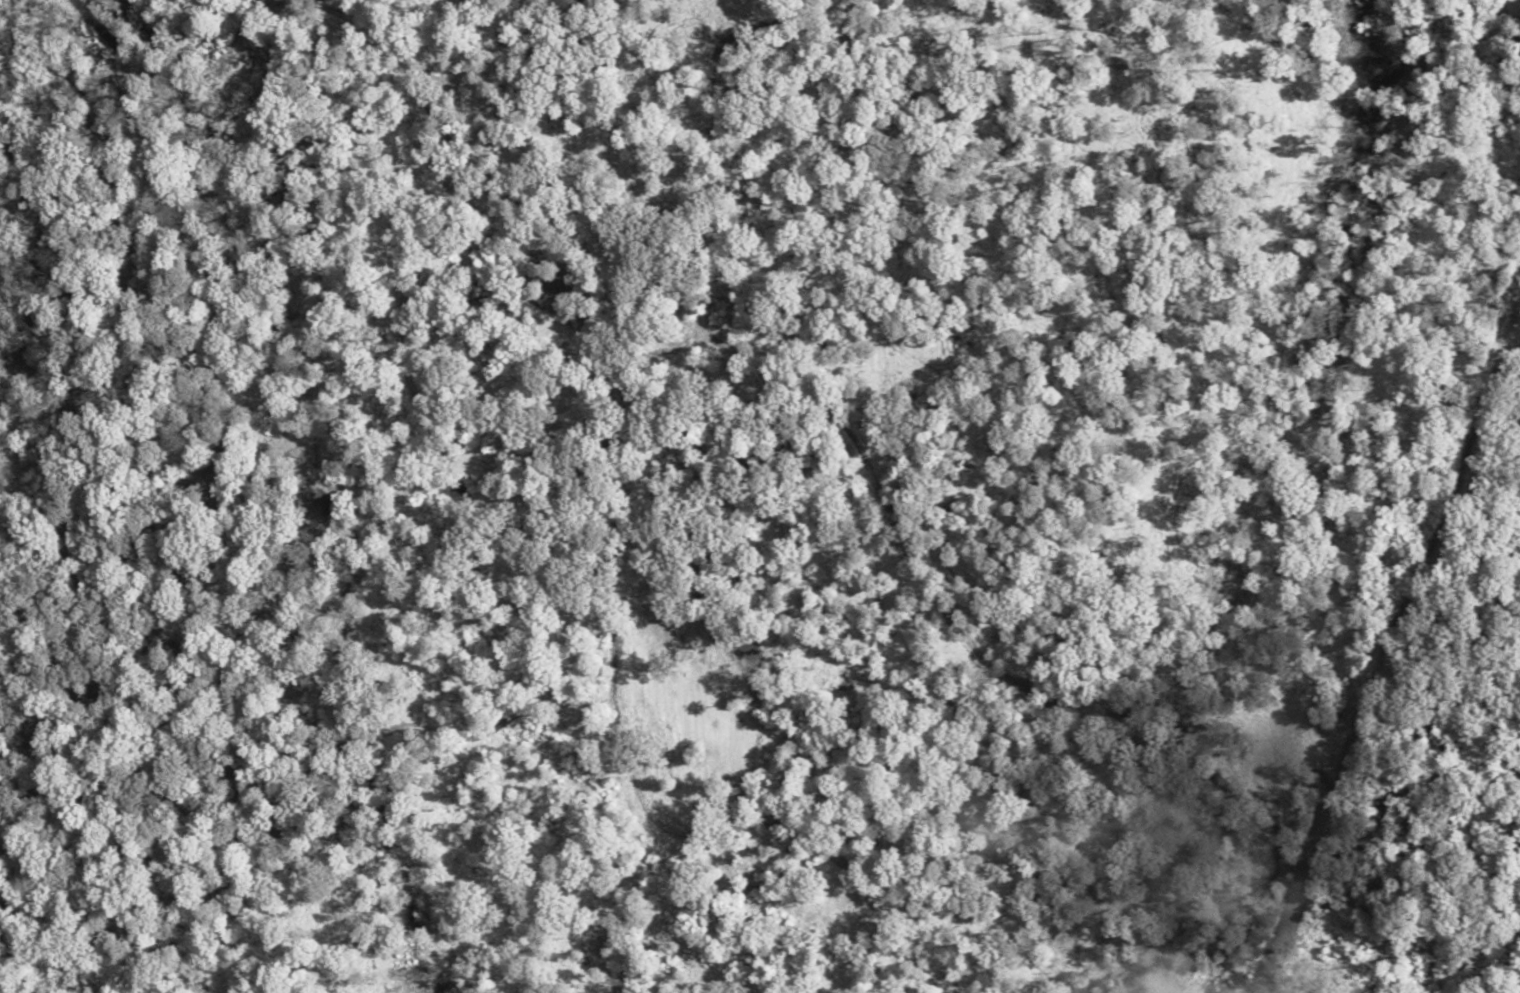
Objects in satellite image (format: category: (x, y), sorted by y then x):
road: (1389, 680)

